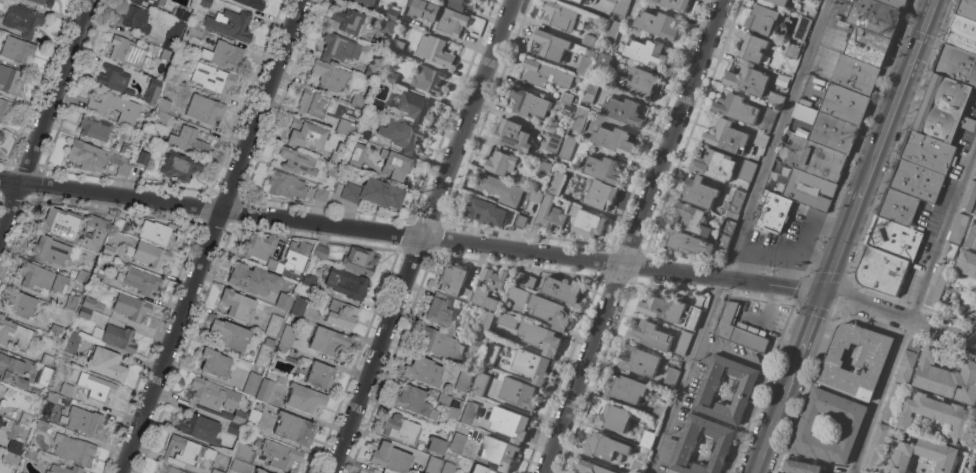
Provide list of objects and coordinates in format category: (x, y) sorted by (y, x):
building: (571, 0)
building: (817, 0)
building: (578, 1)
building: (613, 1)
building: (136, 2)
building: (153, 2)
building: (366, 2)
building: (779, 2)
building: (43, 3)
building: (204, 3)
building: (252, 3)
building: (894, 3)
building: (460, 4)
building: (676, 4)
building: (622, 7)
building: (425, 9)
building: (967, 9)
building: (180, 14)
building: (392, 14)
building: (559, 16)
building: (874, 17)
building: (135, 18)
building: (23, 19)
building: (762, 19)
building: (346, 20)
building: (451, 21)
building: (230, 24)
building: (657, 24)
building: (387, 25)
building: (802, 28)
building: (195, 31)
building: (612, 33)
building: (173, 34)
building: (962, 34)
traffic signals: (918, 37)
building: (379, 39)
building: (591, 41)
building: (397, 46)
building: (558, 46)
building: (339, 47)
building: (867, 47)
building: (752, 48)
building: (17, 49)
building: (434, 50)
building: (126, 51)
building: (791, 51)
building: (647, 53)
building: (164, 54)
building: (226, 55)
building: (604, 61)
building: (957, 65)
building: (583, 66)
building: (545, 74)
building: (329, 75)
building: (854, 75)
building: (174, 76)
building: (390, 77)
building: (8, 79)
building: (115, 79)
building: (214, 80)
building: (427, 80)
building: (748, 80)
building: (637, 83)
building: (590, 90)
building: (152, 91)
road: (896, 93)
building: (566, 98)
building: (776, 99)
building: (357, 100)
building: (312, 103)
building: (529, 103)
building: (844, 104)
building: (163, 105)
building: (376, 105)
building: (114, 107)
building: (416, 107)
building: (737, 108)
building: (5, 109)
building: (203, 109)
building: (565, 109)
building: (943, 109)
building: (623, 111)
building: (162, 117)
road: (45, 119)
building: (578, 119)
building: (766, 120)
building: (94, 127)
building: (348, 128)
building: (828, 129)
building: (364, 133)
building: (1, 134)
building: (307, 134)
building: (401, 135)
building: (512, 136)
building: (726, 137)
road: (772, 138)
building: (760, 139)
building: (613, 140)
building: (188, 141)
building: (554, 143)
building: (568, 144)
building: (125, 149)
building: (929, 153)
building: (356, 154)
building: (88, 156)
building: (143, 157)
building: (336, 158)
building: (297, 161)
building: (500, 163)
building: (395, 164)
building: (124, 165)
building: (180, 165)
building: (715, 165)
building: (544, 168)
building: (602, 169)
building: (334, 170)
building: (746, 171)
building: (975, 173)
building: (810, 176)
building: (917, 181)
building: (555, 183)
building: (286, 185)
building: (500, 189)
building: (699, 192)
building: (373, 193)
building: (320, 194)
building: (601, 195)
building: (536, 197)
building: (969, 198)
building: (733, 207)
building: (899, 207)
building: (486, 211)
building: (773, 213)
building: (975, 214)
building: (548, 215)
building: (692, 219)
building: (519, 222)
building: (586, 222)
building: (60, 223)
building: (117, 223)
building: (958, 228)
building: (93, 233)
building: (160, 233)
building: (725, 234)
road: (209, 236)
road: (420, 236)
road: (630, 236)
building: (972, 237)
building: (893, 238)
road: (839, 239)
building: (685, 243)
road: (491, 246)
building: (257, 247)
building: (108, 250)
building: (950, 250)
building: (51, 251)
building: (320, 251)
building: (149, 254)
building: (296, 255)
building: (359, 260)
building: (967, 263)
building: (274, 266)
building: (881, 271)
building: (82, 275)
building: (98, 277)
building: (41, 278)
building: (524, 279)
building: (139, 280)
building: (252, 280)
building: (309, 280)
building: (454, 282)
building: (347, 284)
building: (937, 285)
building: (488, 288)
building: (562, 289)
traffic signals: (819, 293)
building: (516, 294)
building: (282, 300)
building: (71, 301)
building: (236, 304)
building: (21, 305)
building: (298, 306)
building: (86, 307)
building: (131, 307)
building: (670, 310)
road: (912, 310)
building: (440, 312)
building: (550, 312)
building: (341, 314)
building: (485, 320)
building: (507, 320)
building: (274, 326)
building: (55, 331)
building: (738, 331)
road: (804, 331)
building: (15, 333)
building: (229, 333)
building: (287, 335)
building: (650, 335)
building: (118, 337)
building: (541, 338)
building: (327, 340)
building: (70, 342)
building: (682, 344)
building: (442, 345)
building: (476, 346)
building: (281, 349)
building: (264, 352)
building: (489, 355)
building: (64, 358)
building: (46, 360)
building: (638, 361)
building: (213, 362)
building: (871, 363)
building: (106, 364)
building: (907, 364)
building: (531, 366)
building: (11, 371)
building: (422, 371)
building: (43, 375)
building: (320, 375)
road: (682, 375)
building: (946, 378)
building: (670, 379)
building: (463, 380)
building: (481, 380)
building: (251, 383)
building: (94, 385)
building: (708, 386)
building: (1, 387)
building: (66, 389)
building: (625, 389)
building: (265, 390)
building: (518, 393)
building: (211, 394)
building: (52, 396)
building: (303, 398)
building: (413, 401)
building: (893, 403)
building: (449, 408)
building: (659, 410)
building: (469, 413)
building: (227, 414)
building: (937, 415)
building: (25, 418)
building: (615, 418)
building: (0, 419)
building: (253, 419)
building: (82, 421)
road: (770, 421)
building: (0, 423)
building: (509, 423)
building: (41, 425)
building: (199, 428)
building: (233, 428)
building: (293, 428)
building: (400, 428)
building: (805, 428)
building: (647, 439)
building: (457, 443)
building: (435, 444)
building: (14, 446)
building: (686, 446)
building: (604, 447)
building: (876, 448)
building: (73, 449)
building: (186, 452)
building: (498, 452)
building: (30, 453)
building: (244, 453)
building: (922, 455)
building: (281, 456)
building: (10, 457)
building: (389, 457)
building: (432, 464)
building: (240, 466)
building: (637, 466)
building: (448, 467)
building: (590, 467)
building: (801, 467)
building: (64, 469)
building: (168, 469)
building: (481, 469)
building: (259, 470)
building: (215, 471)
building: (386, 472)
building: (776, 472)

